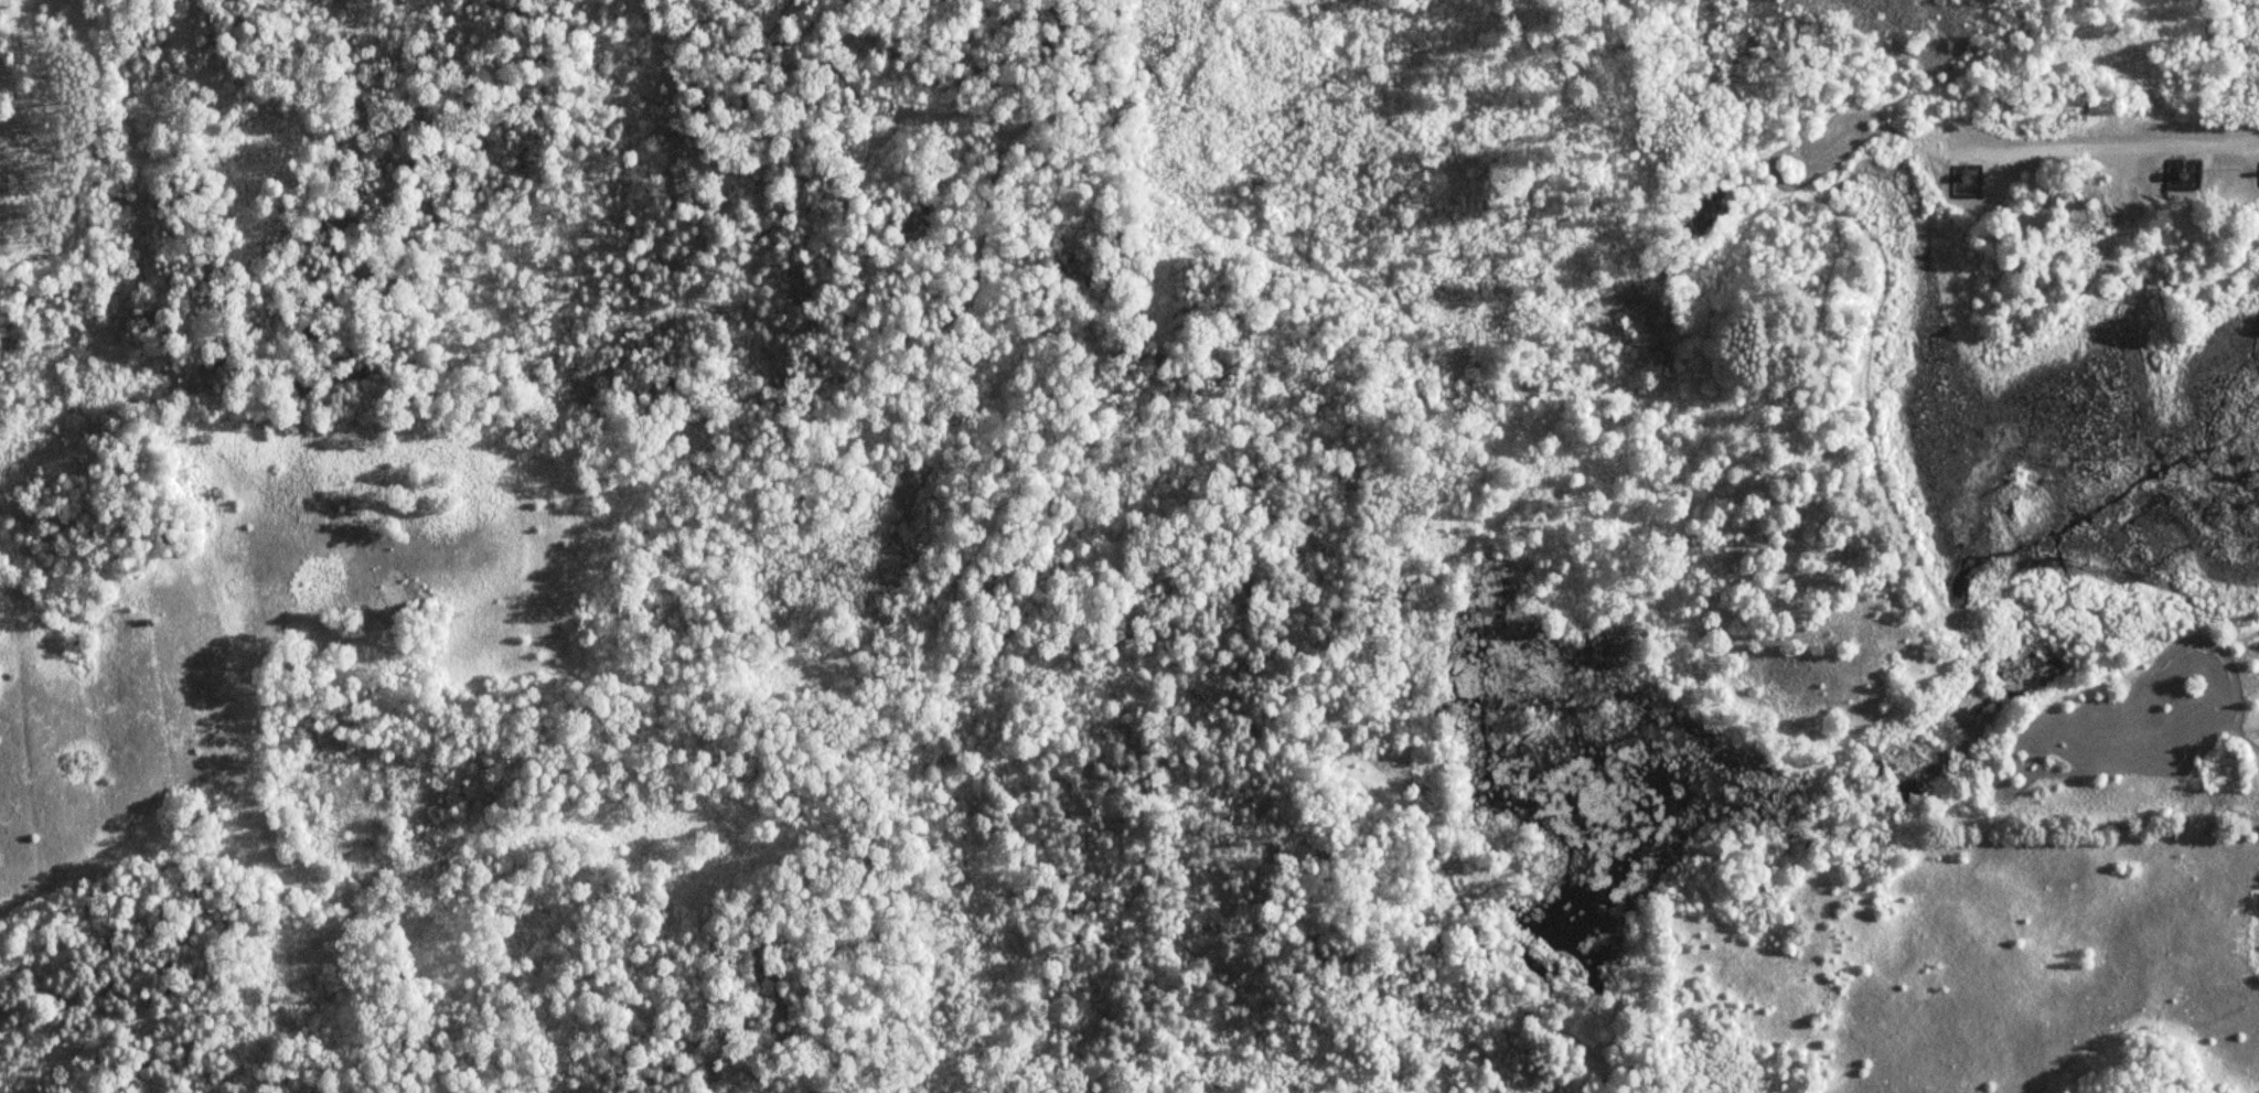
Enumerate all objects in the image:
road: (2107, 148)
building: (1964, 180)

